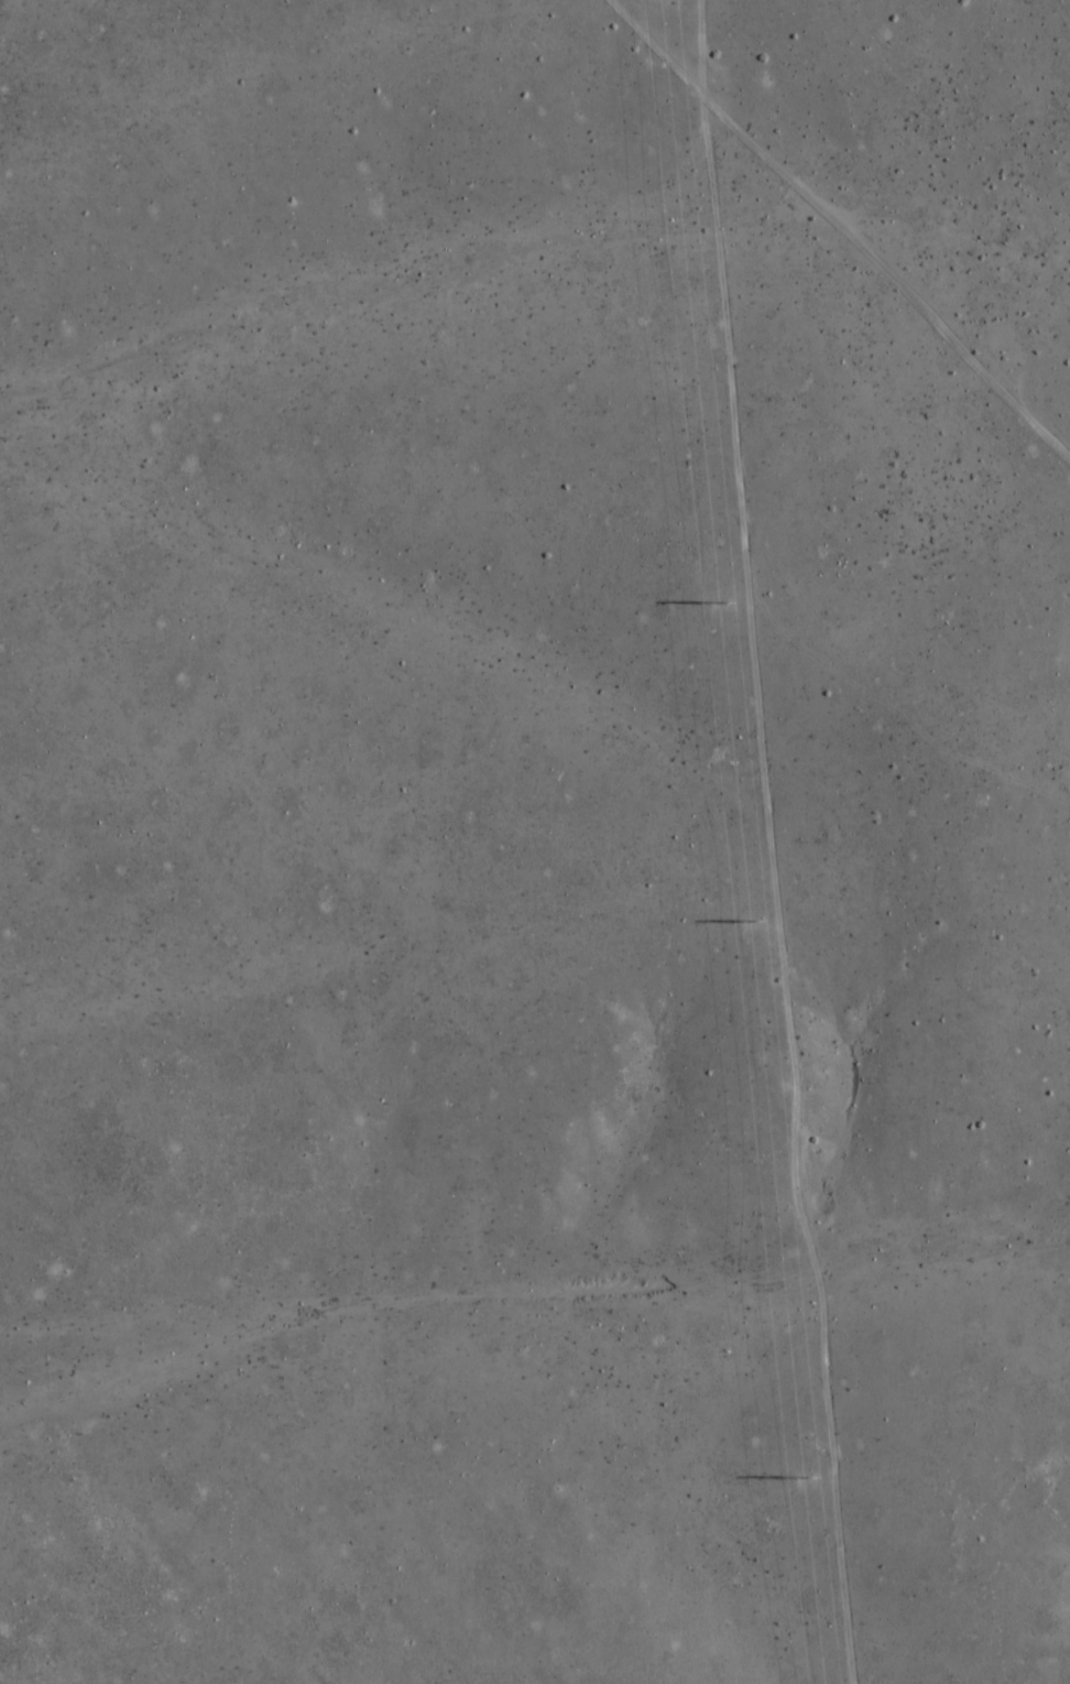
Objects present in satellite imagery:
road: (1061, 6)
road: (845, 226)
power tower: (725, 601)
road: (755, 843)
power tower: (757, 921)
power tower: (805, 1475)

